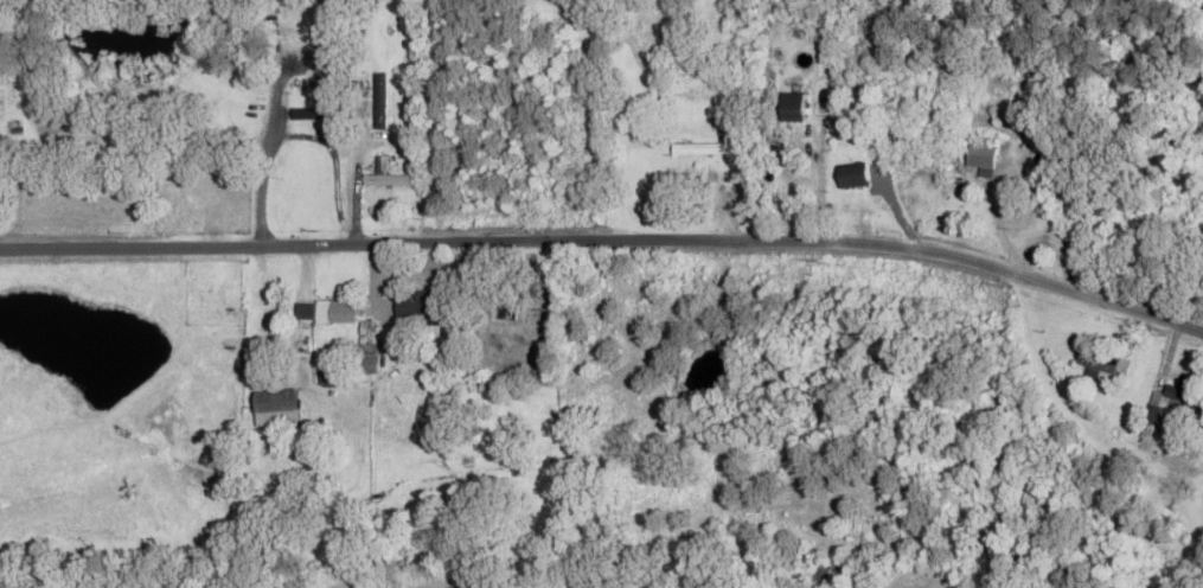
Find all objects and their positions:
building: (8, 75)
building: (313, 85)
building: (791, 108)
building: (698, 149)
building: (981, 155)
building: (161, 167)
building: (852, 177)
building: (386, 181)
road: (607, 238)
building: (420, 306)
building: (503, 308)
building: (324, 313)
building: (533, 321)
building: (1098, 363)
building: (1183, 401)
building: (274, 402)
building: (827, 574)

